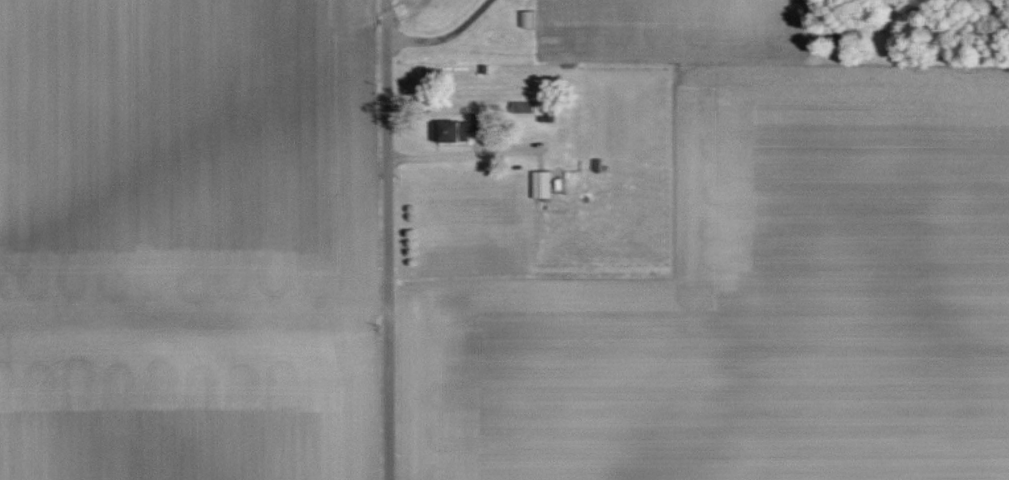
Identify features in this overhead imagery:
building: (524, 18)
road: (444, 38)
building: (454, 129)
road: (439, 156)
building: (539, 184)
road: (387, 239)

